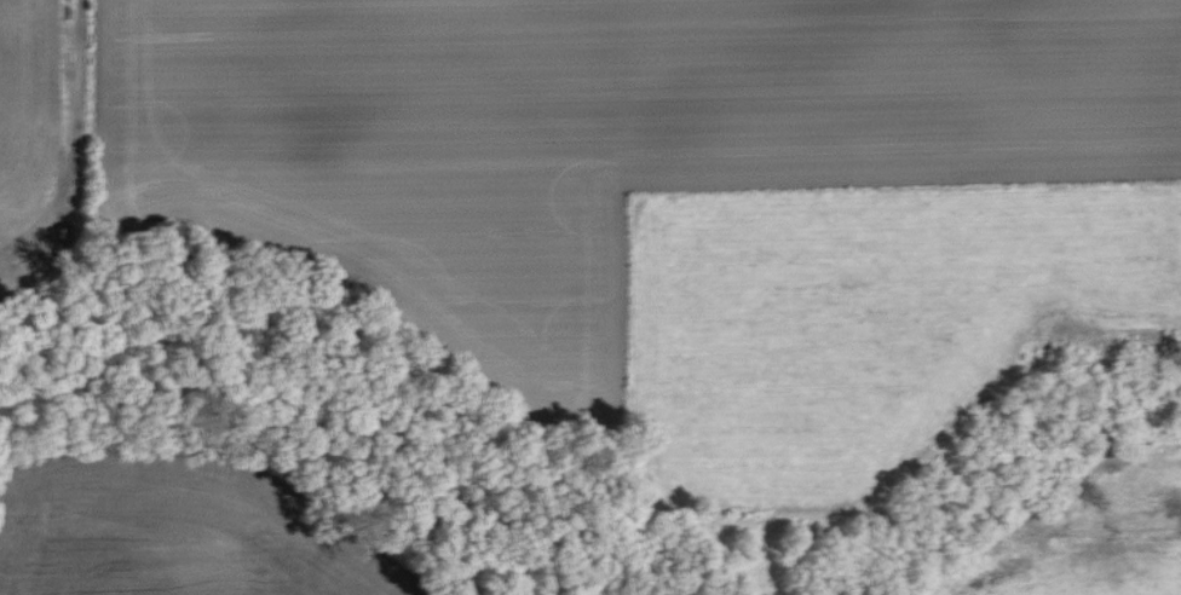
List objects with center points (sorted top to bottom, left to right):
road: (77, 110)

